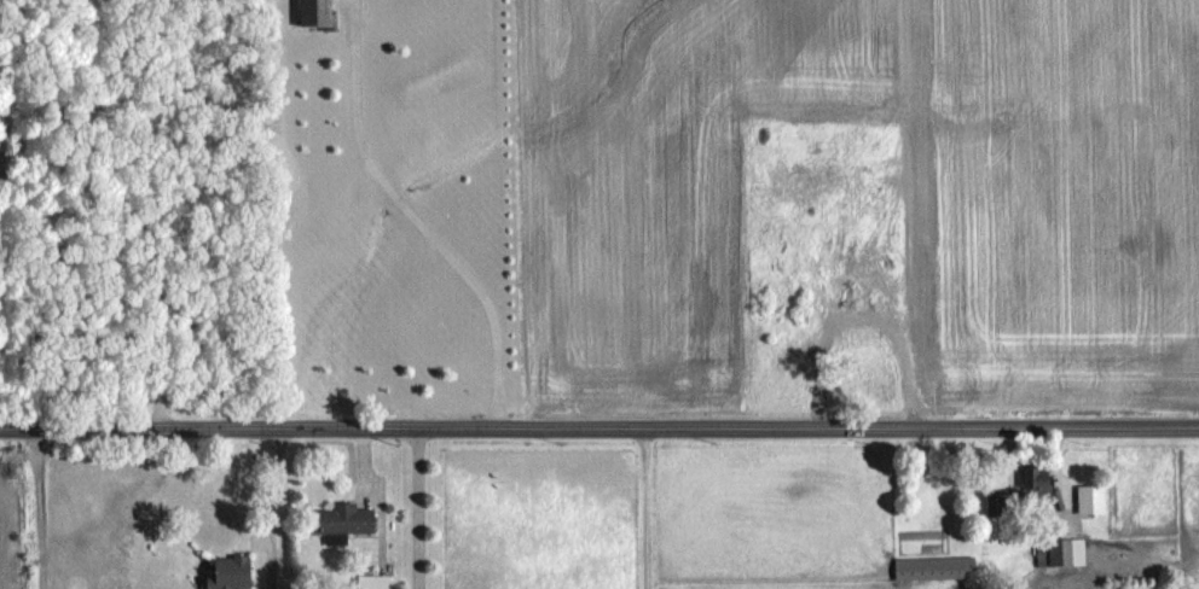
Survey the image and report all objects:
building: (318, 12)
road: (137, 212)
road: (418, 216)
road: (599, 425)
road: (276, 490)
building: (1021, 495)
building: (1094, 498)
road: (417, 507)
building: (342, 521)
building: (1042, 546)
building: (1077, 550)
building: (936, 567)
building: (232, 572)
building: (376, 582)

